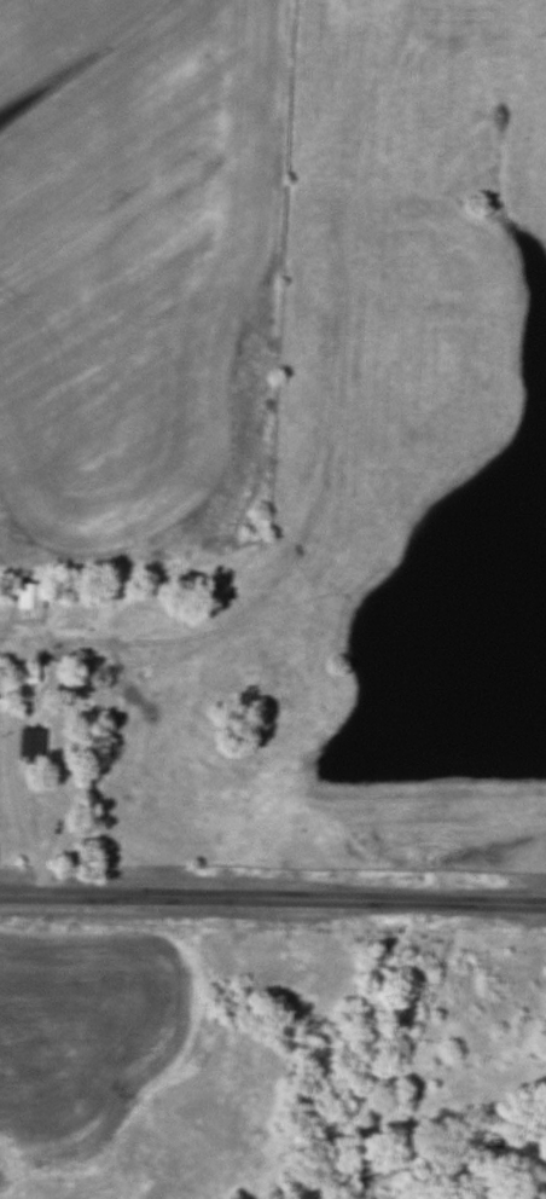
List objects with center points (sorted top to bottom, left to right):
crop: (136, 276)
dam: (432, 777)
road: (273, 897)

